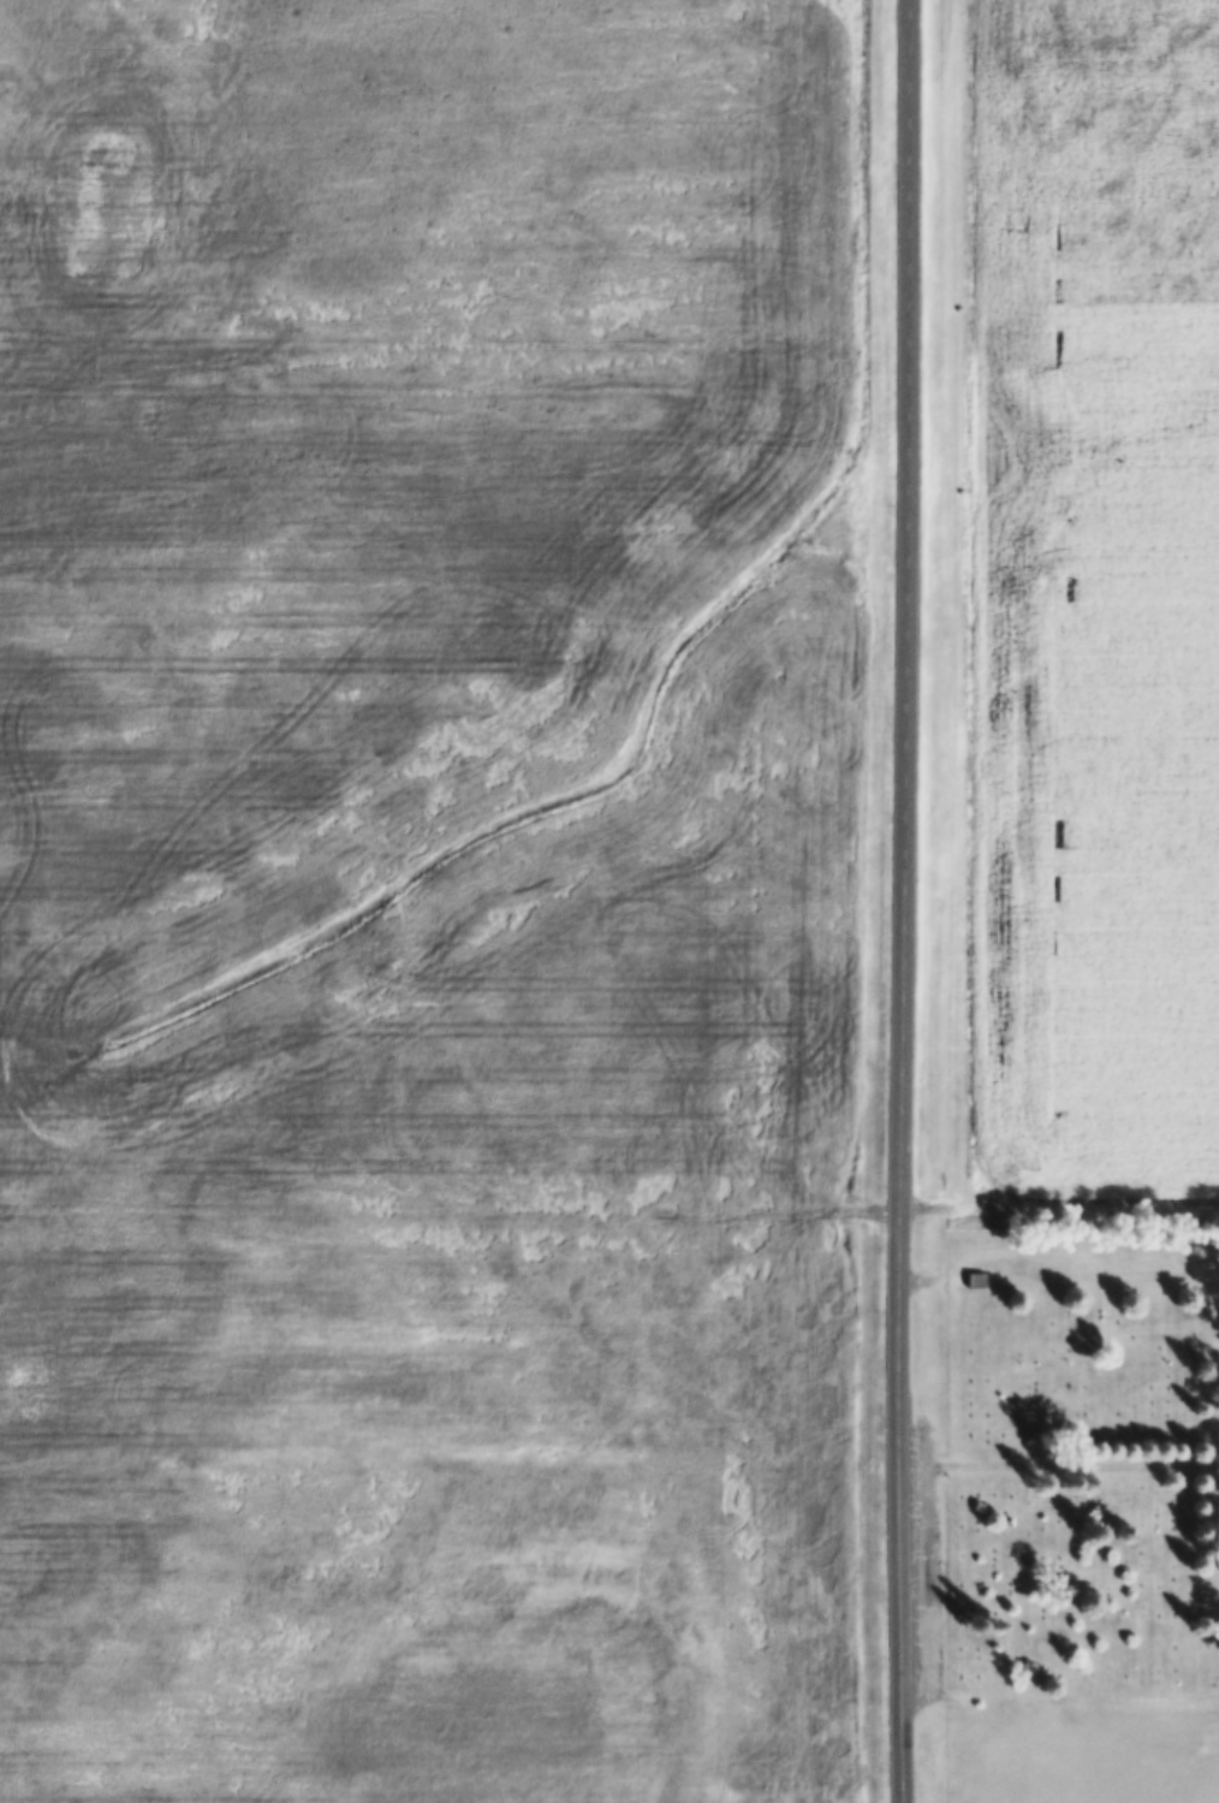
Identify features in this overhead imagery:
road: (900, 901)
road: (1057, 1210)
building: (975, 1281)
building: (1035, 1434)
road: (1034, 1461)

